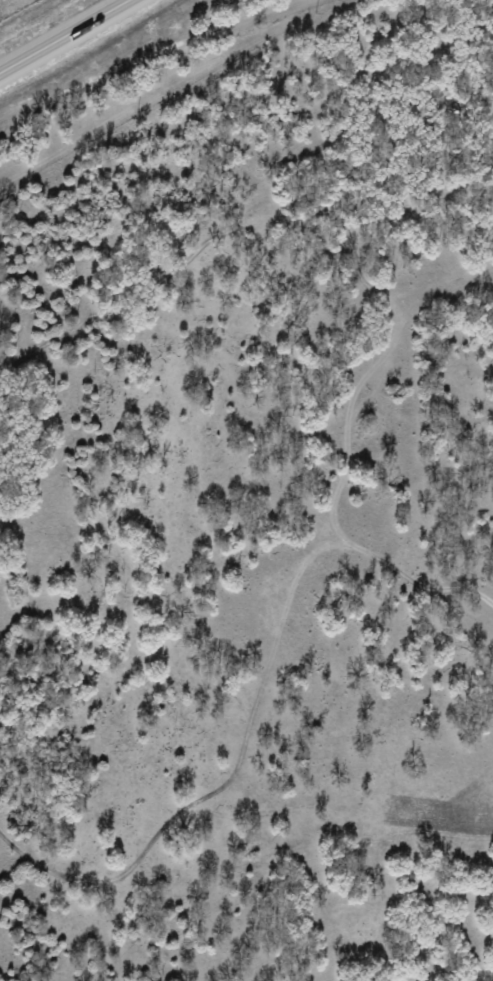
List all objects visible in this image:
road: (63, 35)

